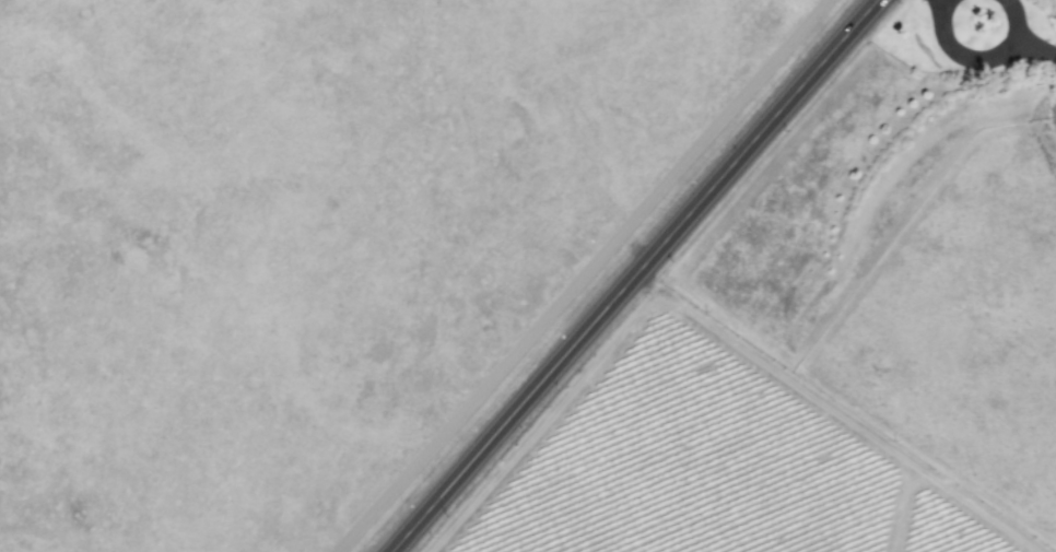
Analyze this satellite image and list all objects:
road: (1021, 37)
road: (963, 55)
road: (648, 279)

